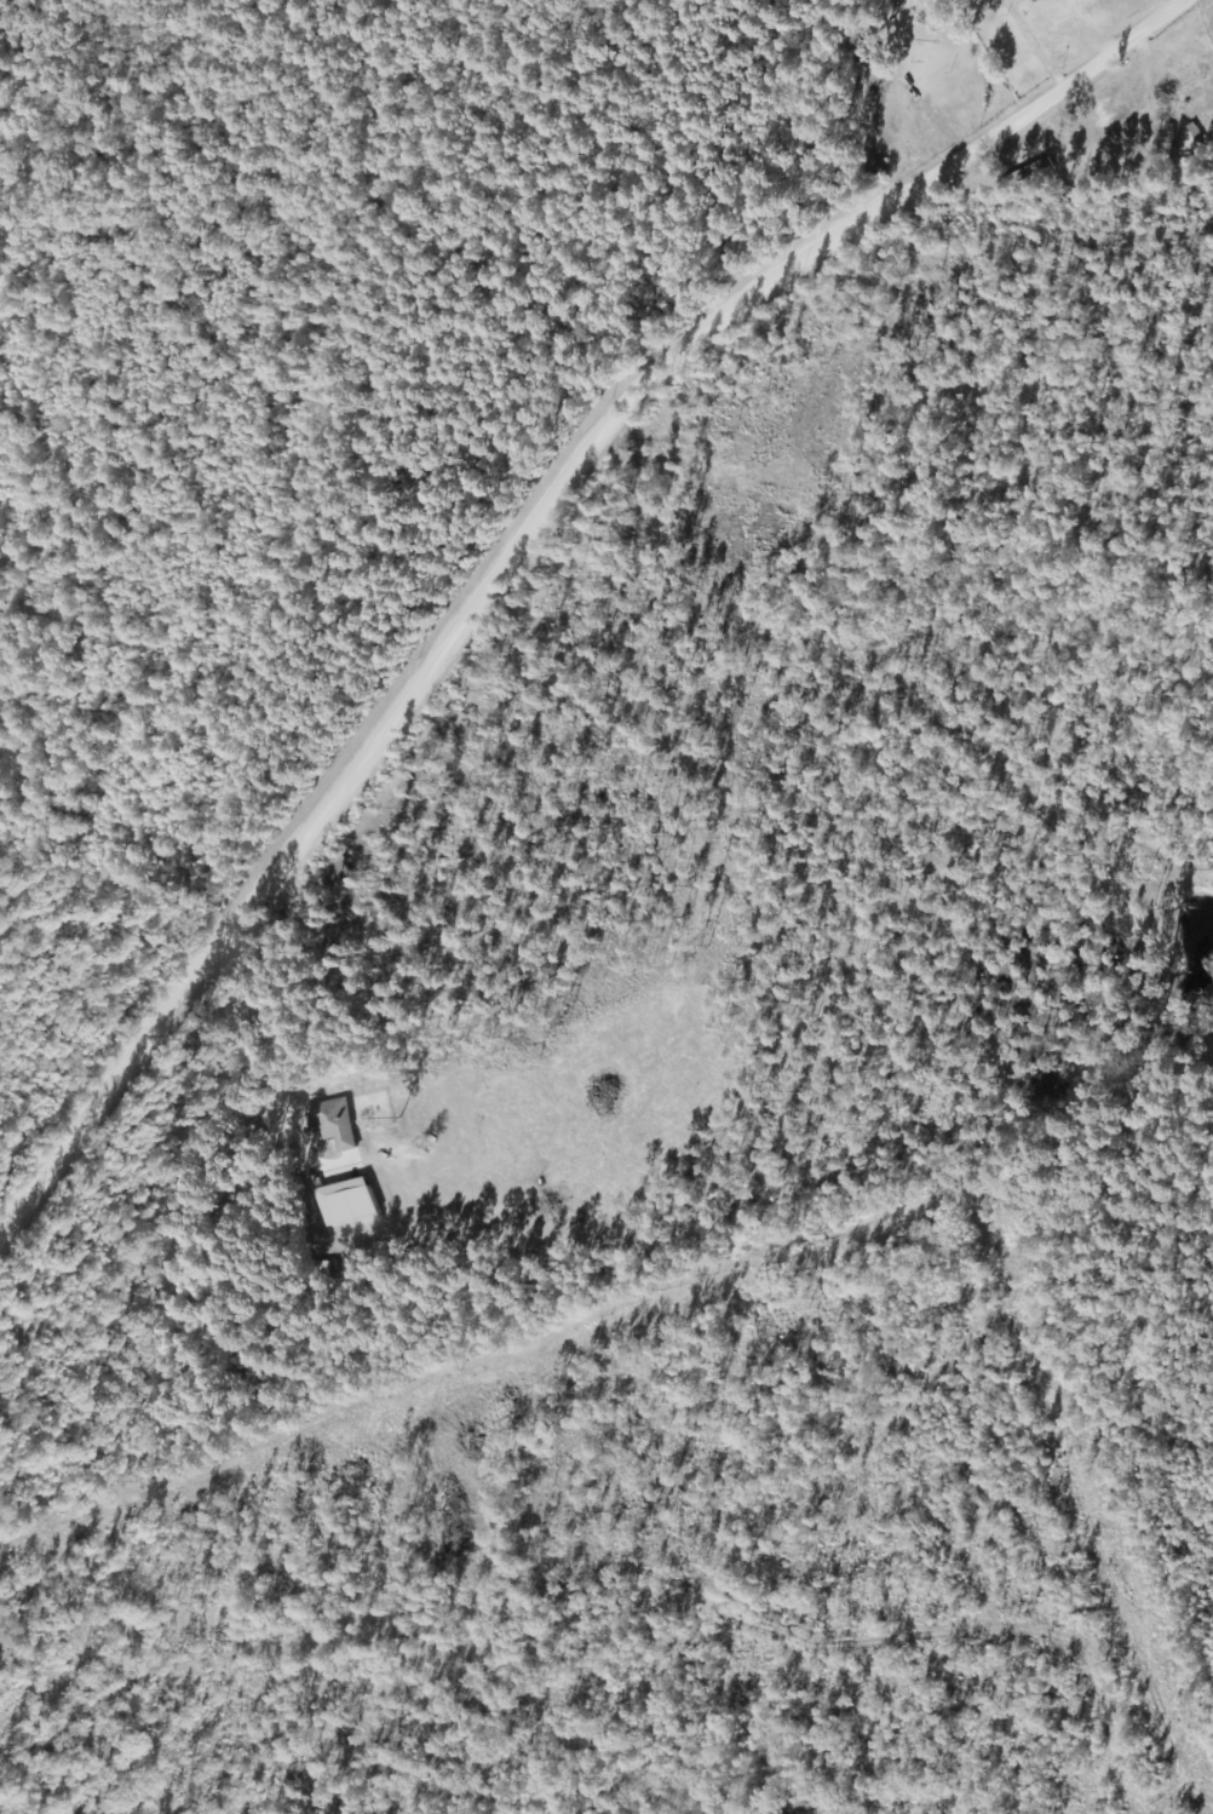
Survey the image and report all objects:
building: (1177, 91)
road: (518, 547)
road: (234, 591)

